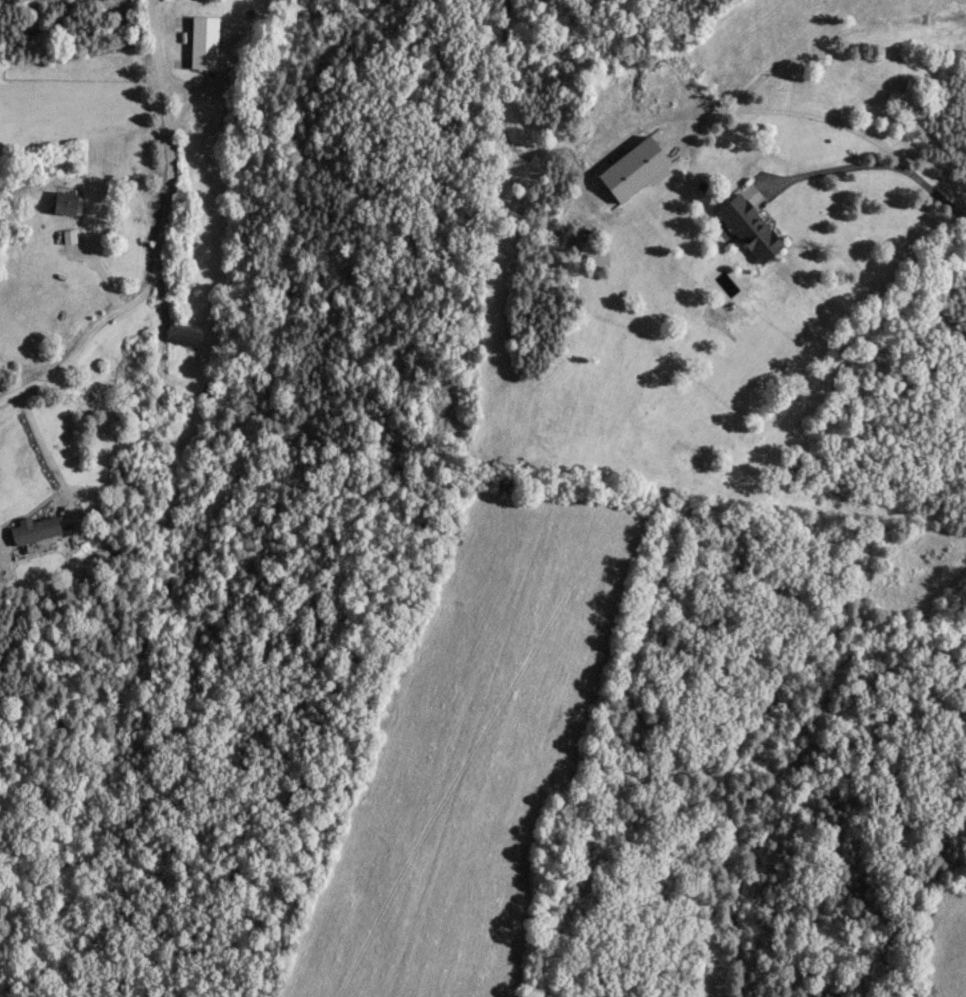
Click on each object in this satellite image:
building: (203, 40)
road: (835, 127)
building: (634, 167)
road: (827, 172)
building: (66, 201)
building: (750, 226)
road: (174, 233)
building: (67, 234)
road: (98, 242)
building: (183, 335)
building: (126, 360)
building: (34, 529)

